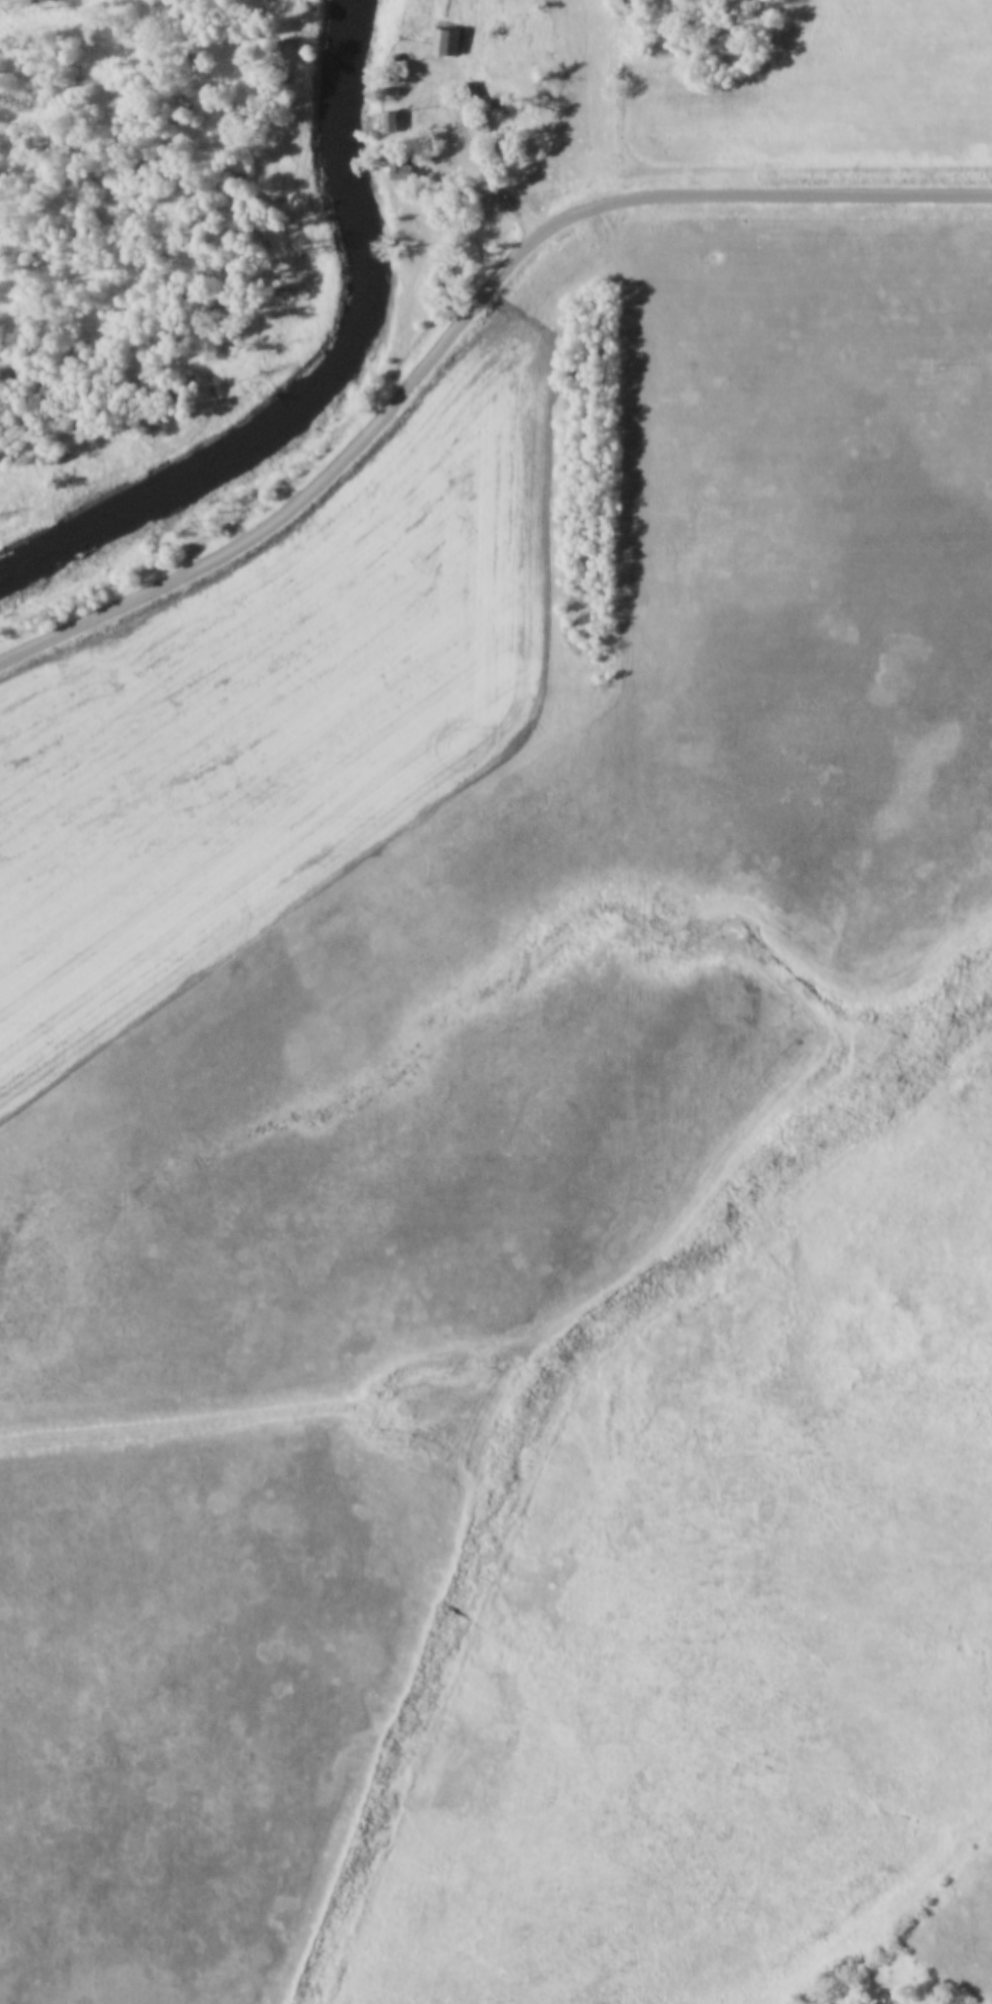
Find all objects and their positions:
building: (447, 39)
building: (474, 94)
road: (483, 151)
building: (400, 160)
road: (462, 324)
river: (327, 370)
road: (559, 463)

